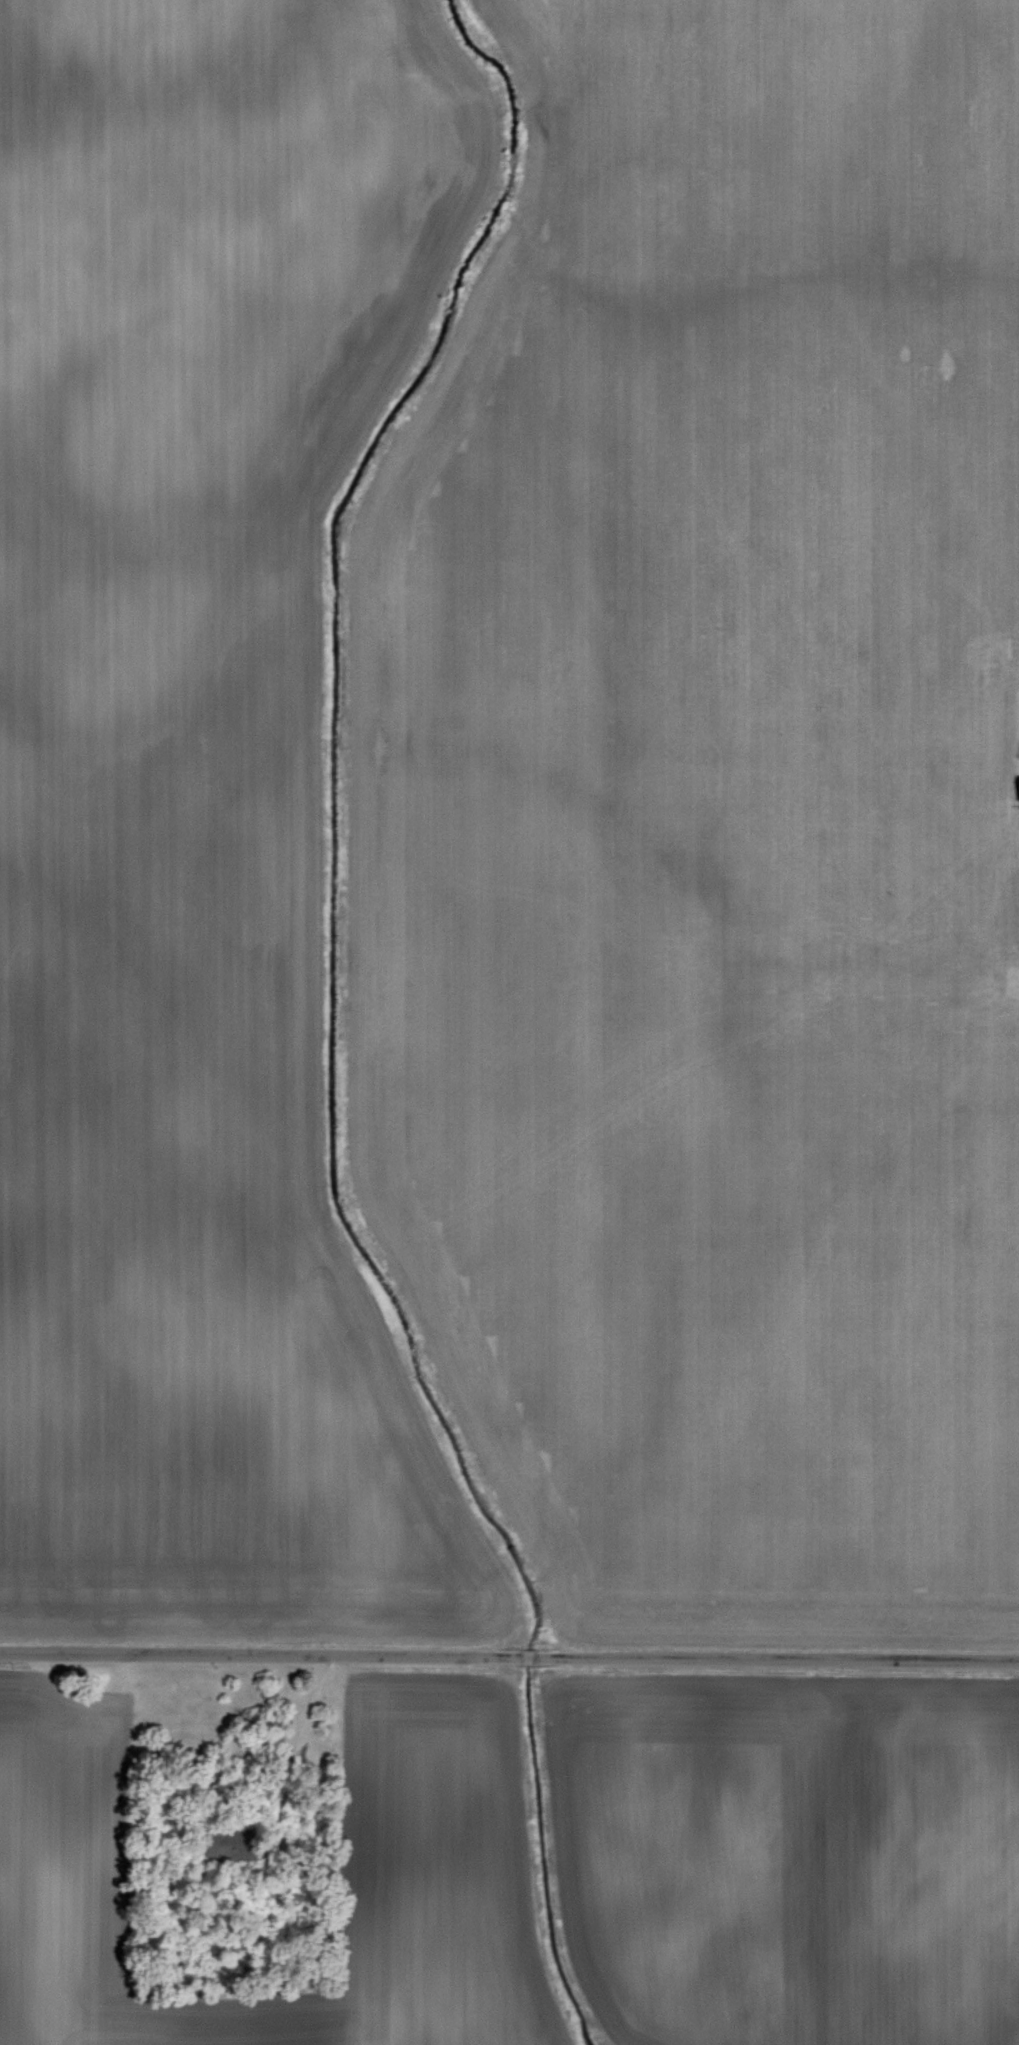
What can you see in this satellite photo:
building: (1016, 790)
road: (509, 1655)
road: (299, 1727)

